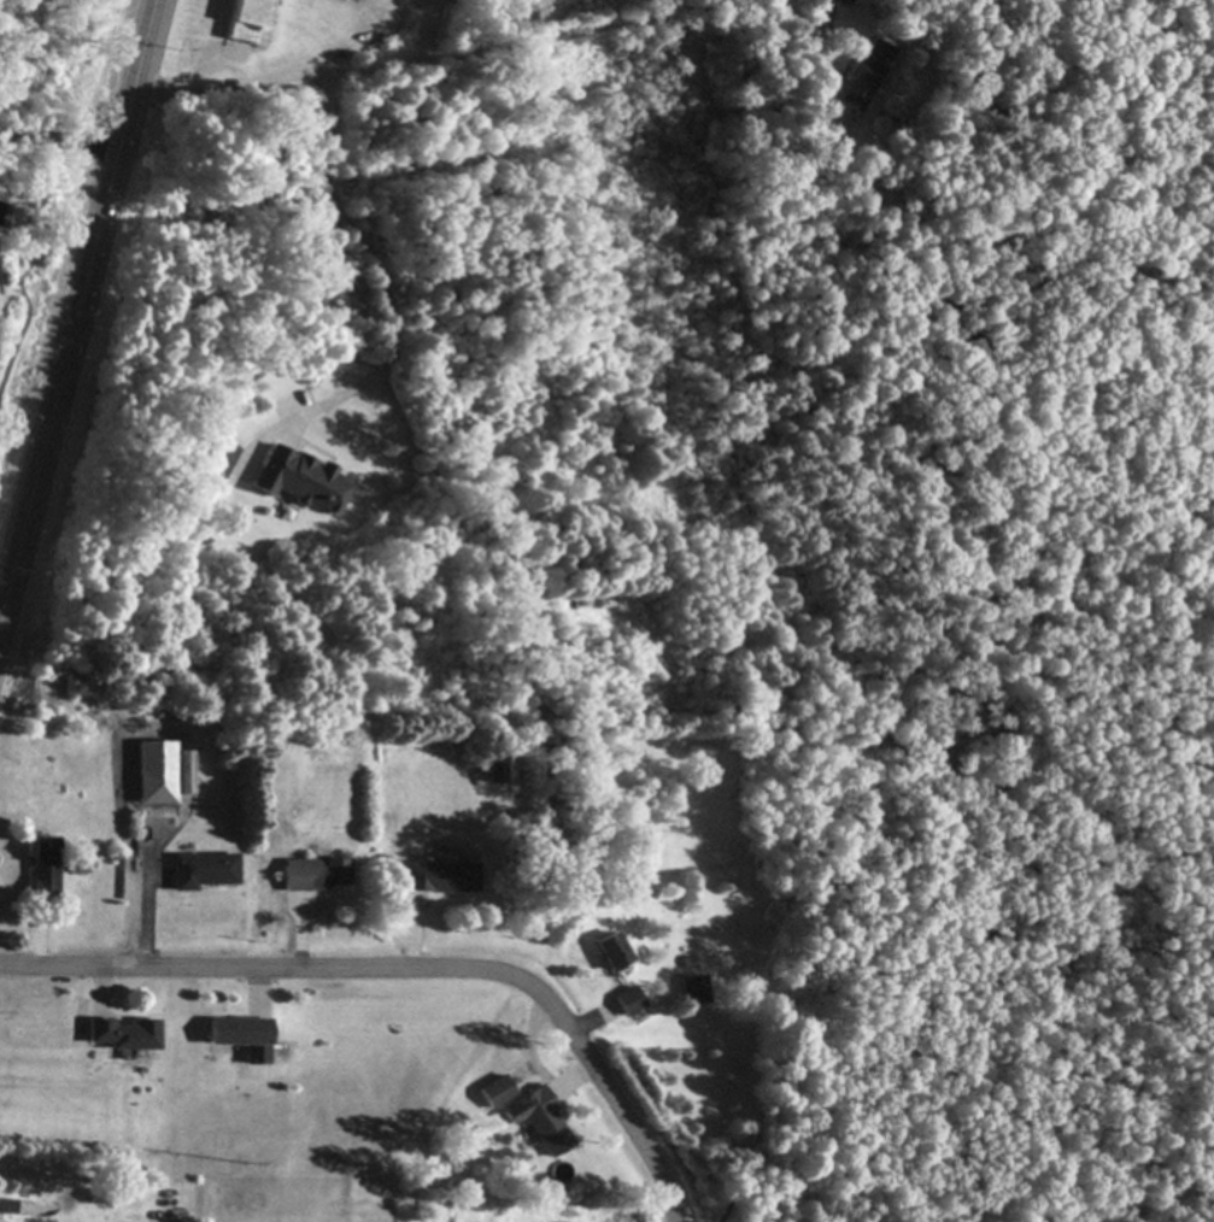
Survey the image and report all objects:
building: (835, 1)
building: (247, 22)
road: (499, 45)
building: (861, 78)
road: (60, 137)
building: (4, 216)
road: (379, 259)
road: (77, 310)
building: (218, 459)
building: (300, 482)
building: (495, 771)
building: (164, 783)
building: (41, 870)
building: (201, 871)
building: (313, 875)
building: (438, 879)
building: (609, 951)
road: (409, 967)
building: (692, 991)
building: (627, 1001)
building: (122, 1035)
building: (241, 1039)
building: (495, 1093)
building: (539, 1122)
building: (99, 1198)

